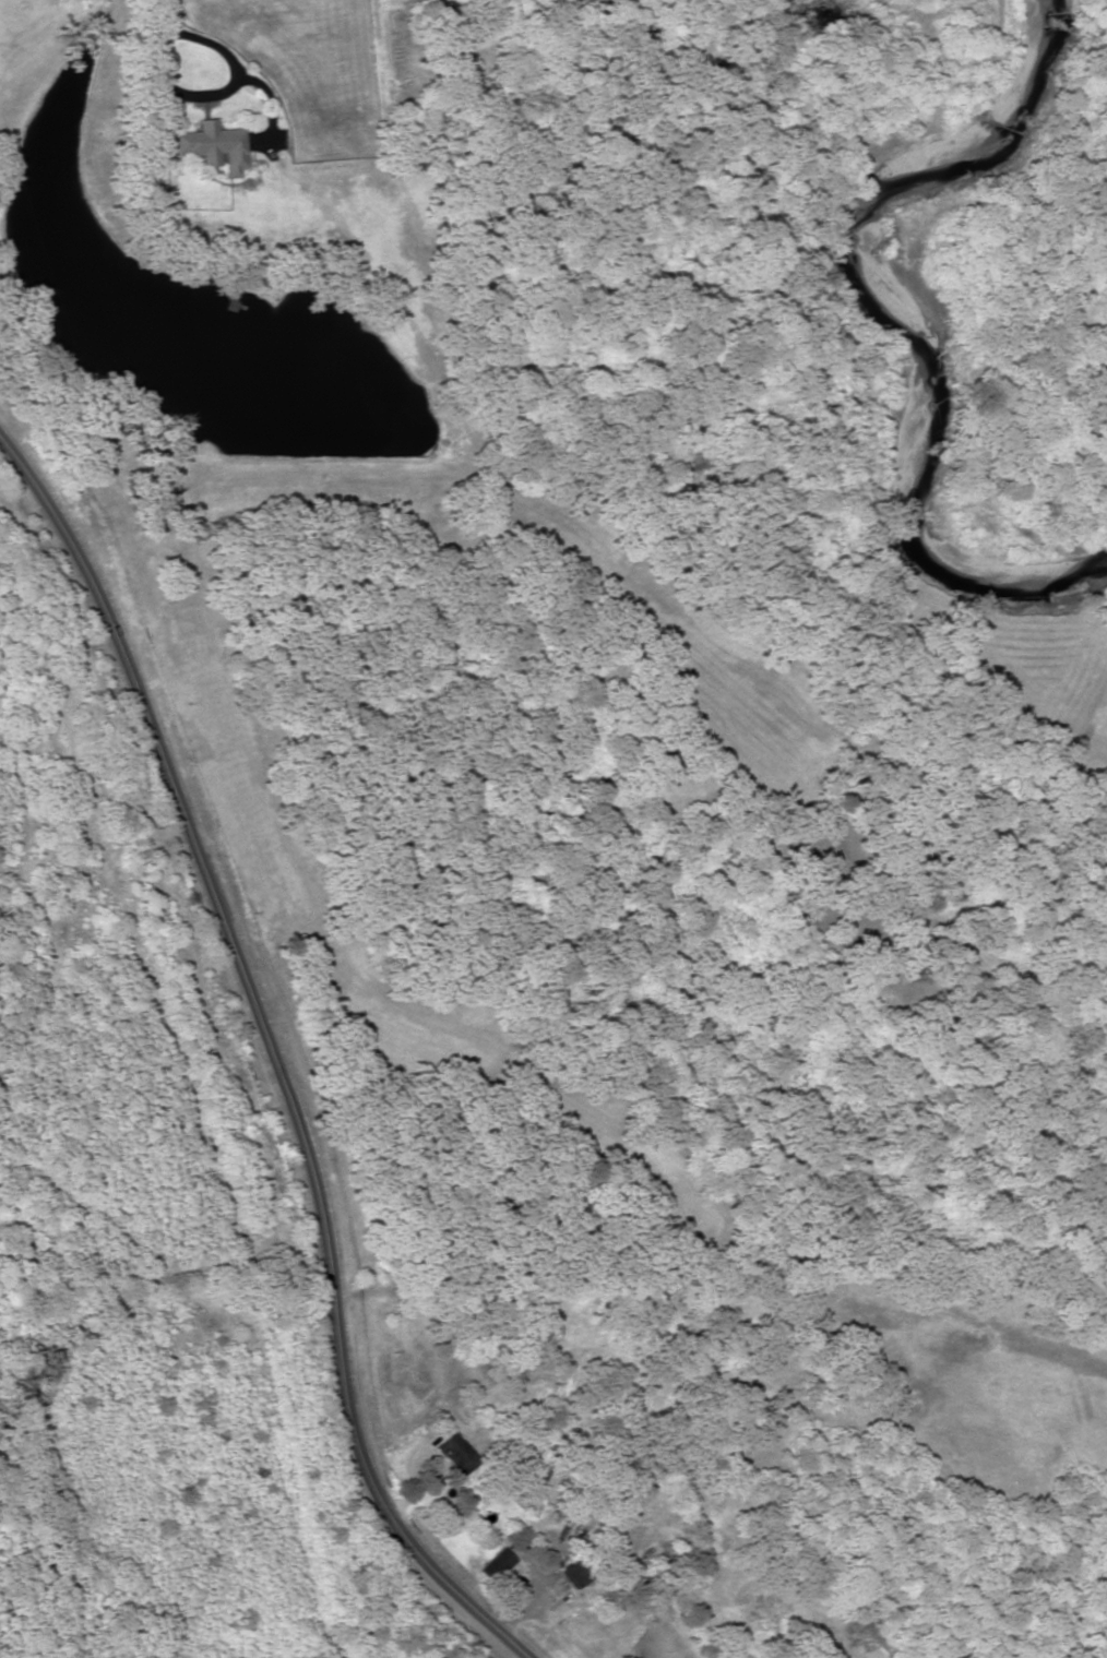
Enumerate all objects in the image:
building: (207, 147)
road: (273, 1052)
building: (453, 1455)
building: (493, 1565)
building: (572, 1572)

